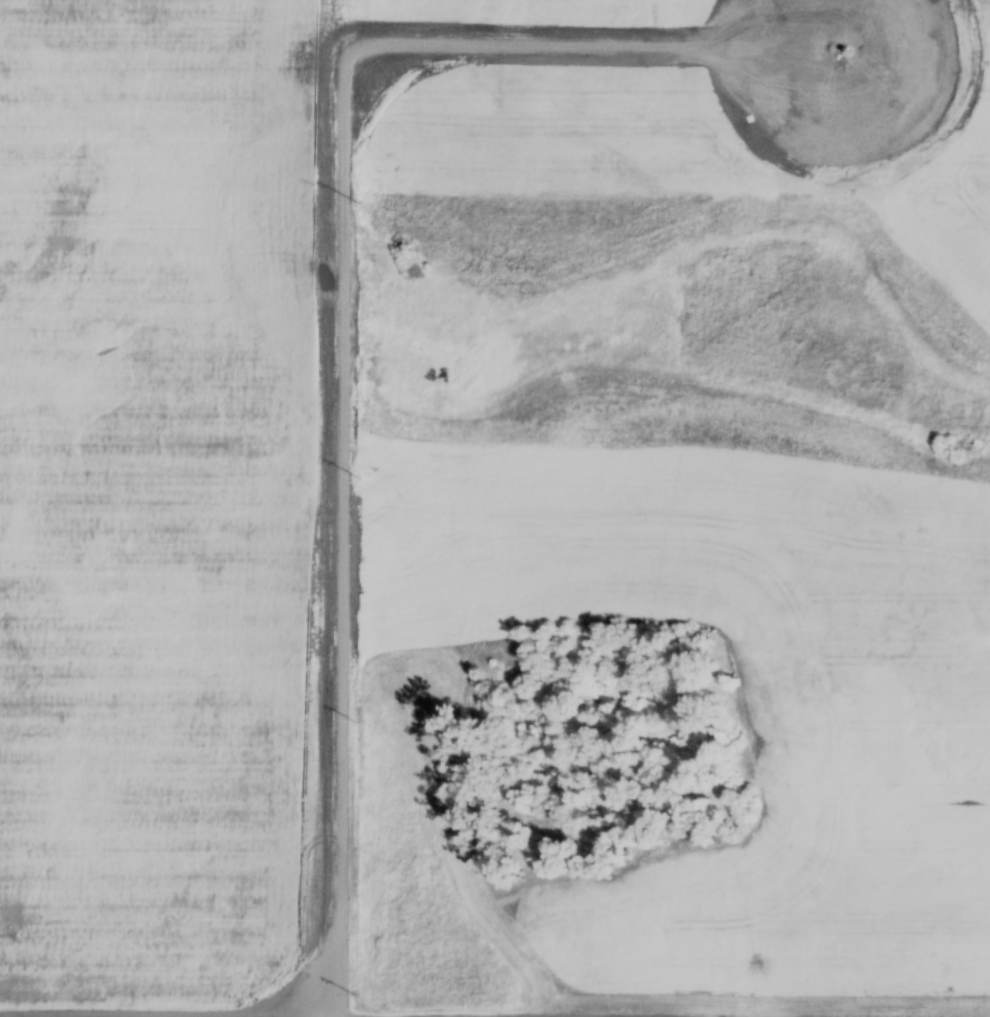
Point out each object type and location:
wind turbine: (839, 45)
road: (785, 1013)
road: (174, 1015)

